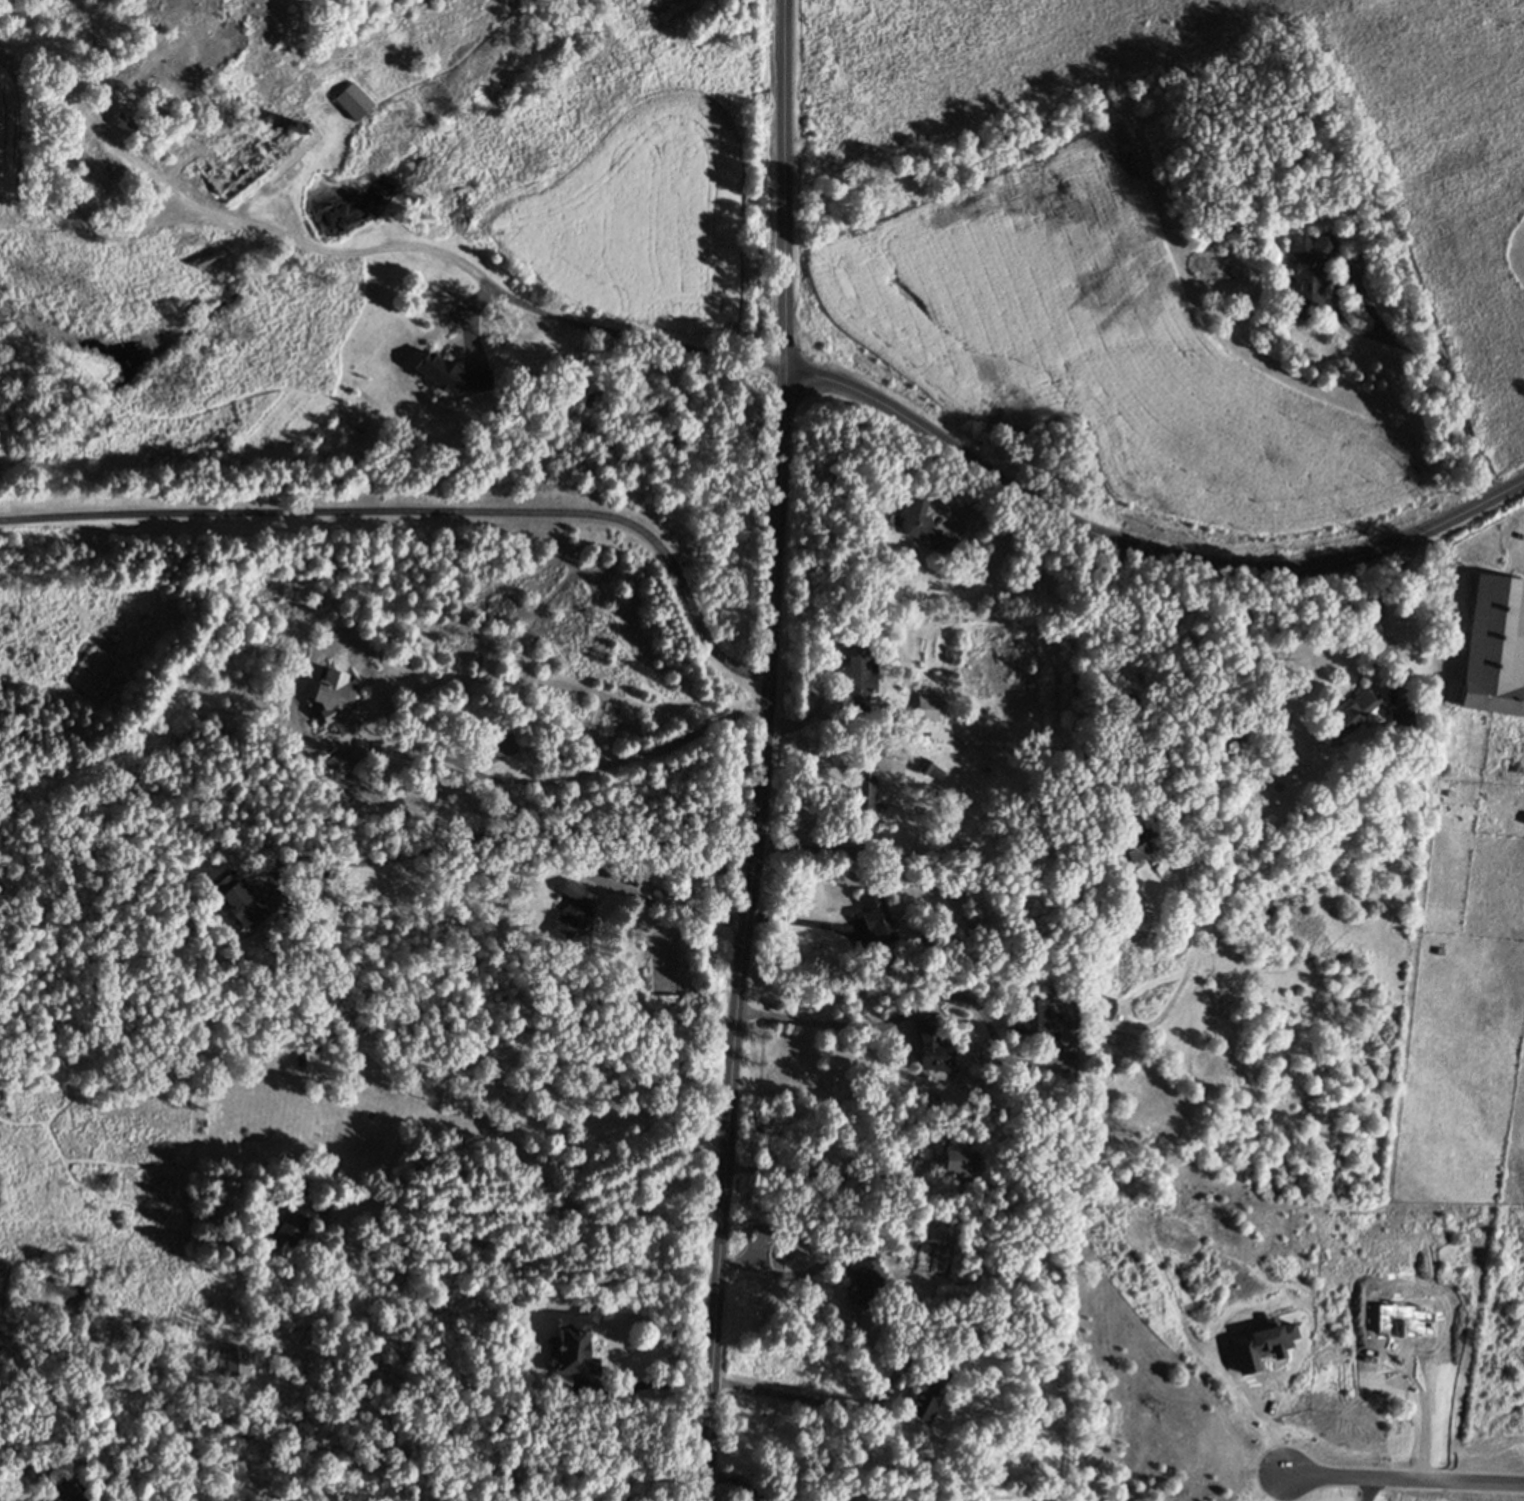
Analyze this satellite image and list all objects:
building: (213, 27)
building: (354, 100)
building: (113, 116)
building: (234, 169)
building: (1348, 196)
building: (1310, 272)
road: (488, 286)
building: (442, 300)
road: (1445, 363)
road: (425, 514)
building: (919, 518)
road: (1142, 548)
road: (1381, 600)
building: (1495, 646)
building: (858, 676)
road: (1122, 680)
building: (335, 698)
building: (928, 708)
building: (1355, 711)
building: (1401, 716)
building: (1239, 726)
road: (765, 751)
building: (334, 764)
road: (567, 781)
building: (864, 797)
road: (516, 834)
building: (1132, 845)
road: (813, 850)
building: (633, 881)
building: (240, 897)
building: (1268, 904)
building: (572, 909)
road: (676, 910)
building: (876, 919)
road: (806, 921)
building: (888, 967)
building: (1104, 1004)
building: (1035, 1015)
road: (821, 1024)
building: (933, 1047)
building: (317, 1058)
building: (960, 1166)
road: (826, 1176)
road: (550, 1213)
building: (297, 1223)
building: (864, 1276)
building: (573, 1345)
building: (232, 1361)
road: (648, 1385)
building: (929, 1395)
road: (812, 1400)
road: (1261, 1412)
road: (1404, 1478)
road: (736, 1482)
building: (63, 1486)
building: (622, 1498)
building: (861, 1499)

